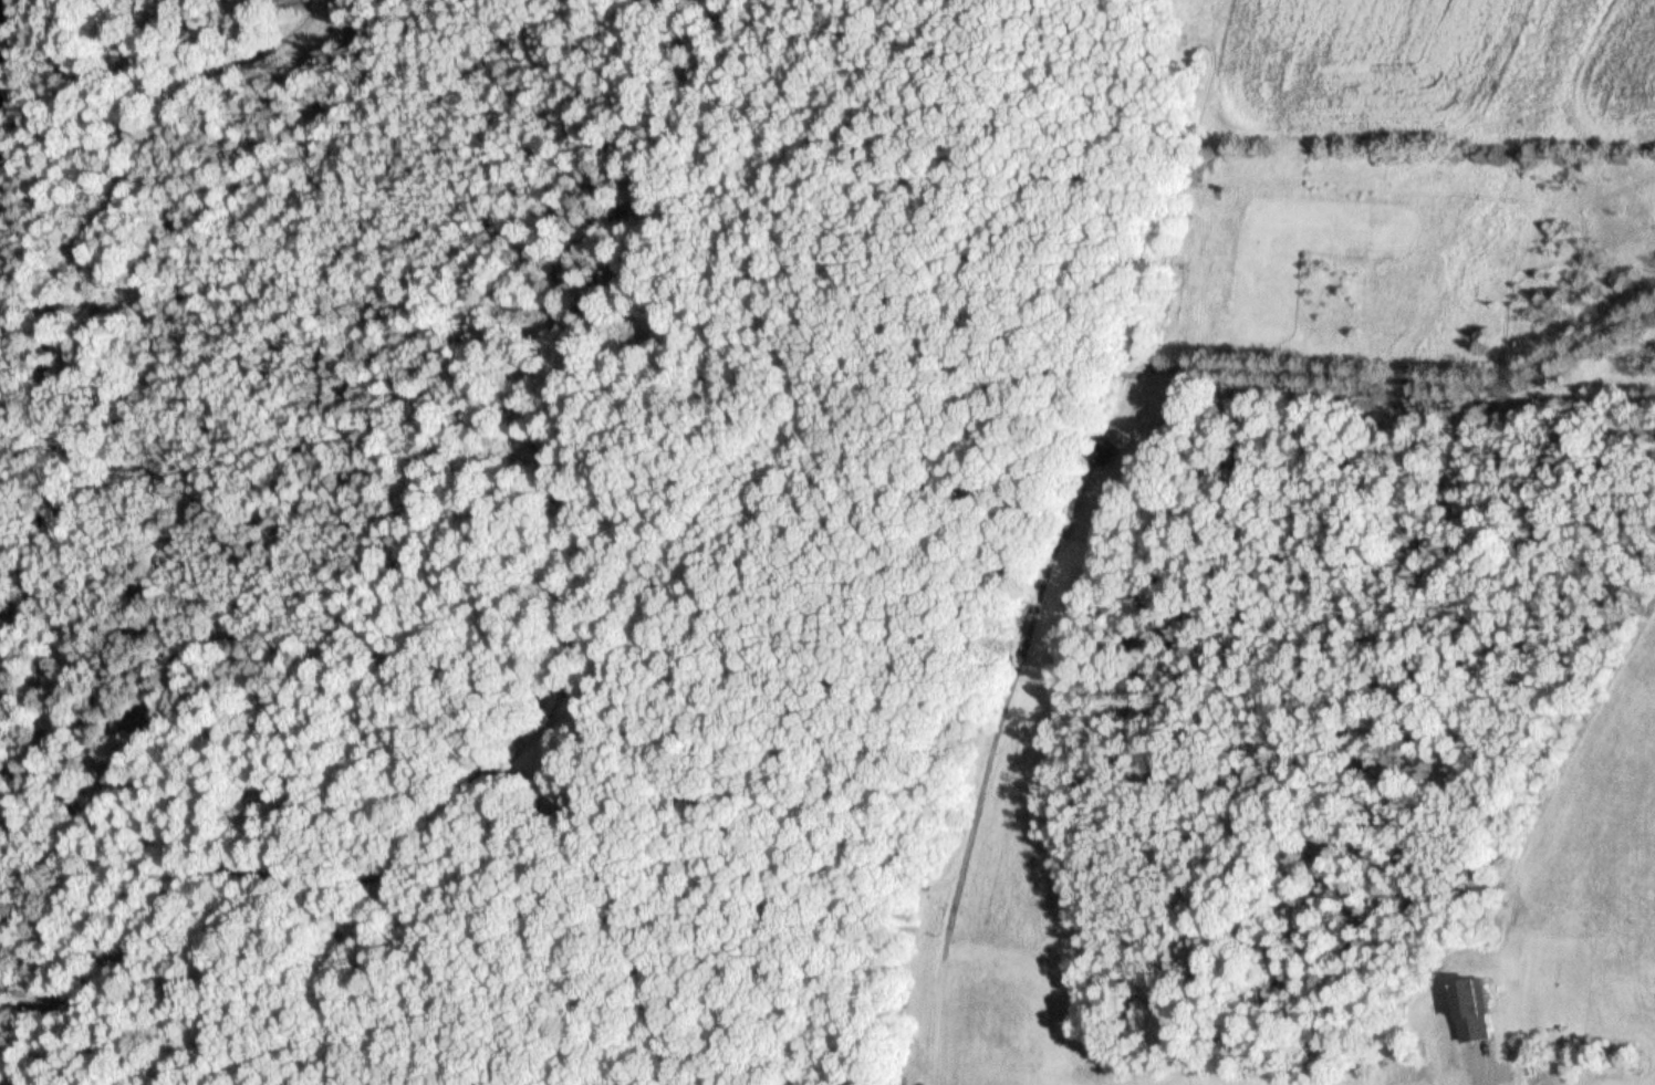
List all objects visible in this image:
road: (1157, 153)
building: (1101, 453)

